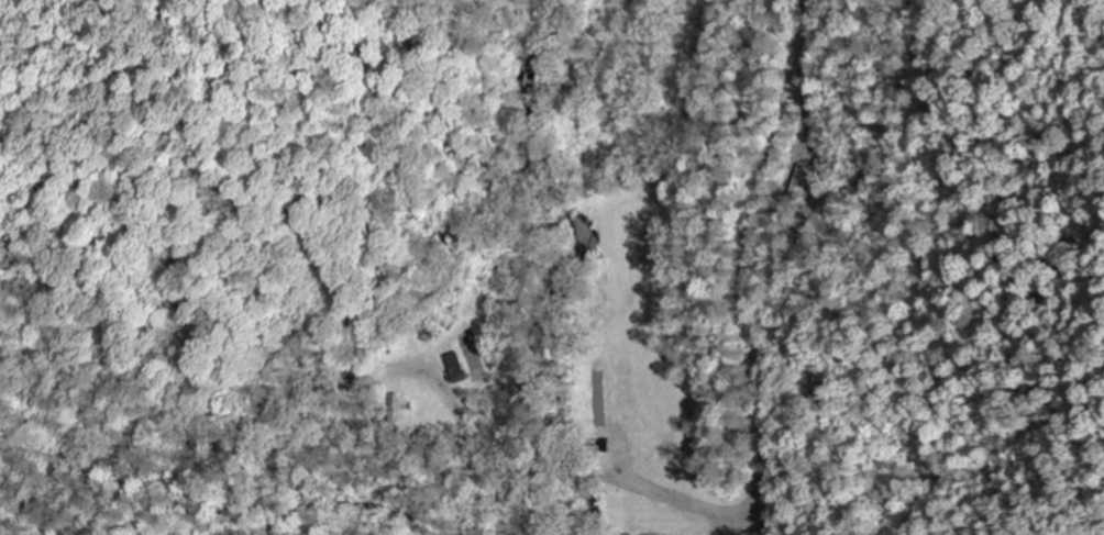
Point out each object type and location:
road: (744, 265)
road: (541, 483)

